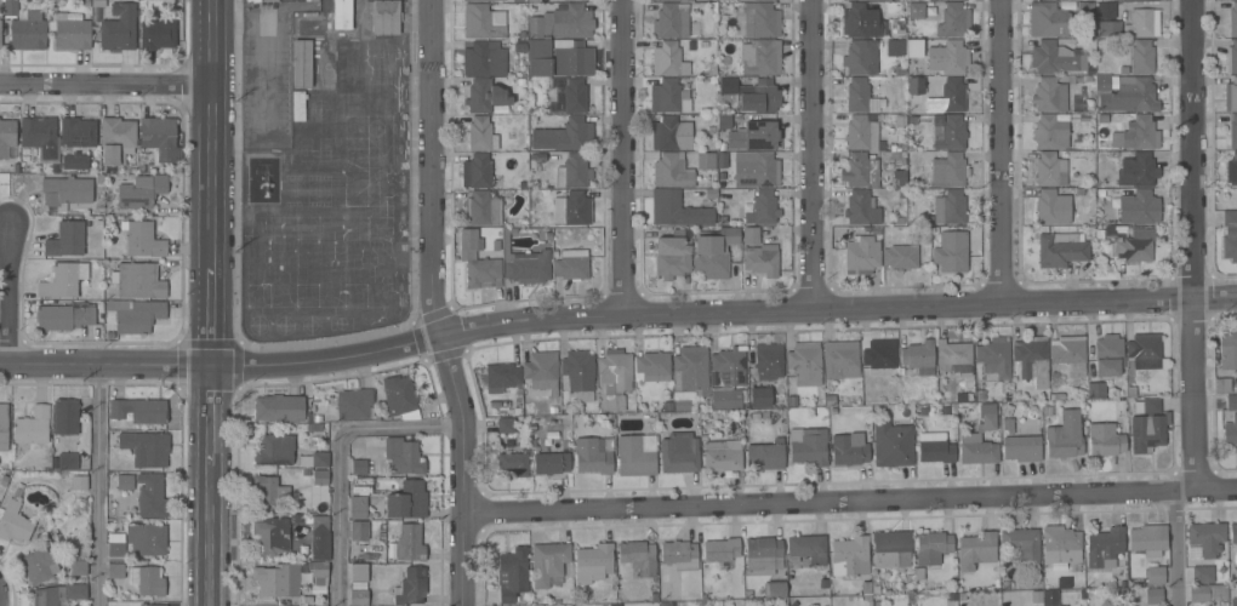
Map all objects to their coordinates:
building: (252, 0)
building: (269, 0)
building: (479, 0)
building: (571, 0)
building: (668, 0)
building: (746, 0)
building: (762, 0)
building: (856, 0)
building: (888, 0)
building: (911, 0)
building: (933, 0)
building: (1157, 0)
building: (534, 1)
building: (10, 7)
building: (916, 10)
building: (1105, 10)
building: (1084, 11)
building: (341, 15)
building: (386, 17)
building: (863, 19)
building: (1047, 19)
building: (1232, 19)
building: (760, 21)
building: (953, 21)
building: (483, 22)
building: (568, 22)
building: (667, 22)
building: (1141, 23)
building: (118, 28)
building: (1108, 29)
building: (899, 30)
building: (70, 32)
building: (28, 33)
building: (156, 35)
road: (269, 47)
building: (537, 48)
building: (895, 48)
building: (913, 48)
building: (1056, 56)
building: (760, 57)
building: (861, 57)
building: (1141, 57)
building: (571, 58)
building: (948, 58)
building: (1231, 58)
building: (481, 59)
building: (668, 59)
building: (301, 64)
building: (347, 64)
road: (104, 82)
building: (726, 90)
building: (914, 91)
building: (1125, 93)
building: (1049, 95)
building: (484, 96)
building: (574, 96)
building: (860, 96)
building: (951, 96)
building: (1231, 96)
building: (669, 97)
building: (760, 97)
building: (298, 105)
building: (723, 121)
building: (78, 132)
building: (1050, 132)
building: (671, 133)
building: (860, 133)
building: (951, 133)
building: (1136, 133)
building: (1231, 133)
building: (38, 135)
road: (211, 135)
building: (480, 135)
building: (565, 136)
building: (753, 136)
building: (6, 137)
building: (159, 137)
building: (116, 139)
road: (1195, 148)
road: (997, 150)
road: (815, 155)
road: (627, 158)
building: (706, 160)
building: (75, 161)
building: (1135, 168)
building: (948, 170)
building: (1049, 170)
building: (1232, 170)
building: (477, 171)
building: (671, 171)
building: (757, 171)
building: (860, 171)
building: (572, 172)
building: (65, 190)
building: (141, 191)
building: (764, 207)
building: (950, 207)
building: (1053, 207)
building: (1139, 207)
building: (483, 208)
building: (572, 208)
building: (862, 208)
building: (679, 211)
building: (1115, 231)
building: (751, 235)
building: (1230, 235)
building: (65, 240)
building: (142, 240)
building: (1135, 246)
building: (1061, 250)
building: (713, 252)
building: (951, 252)
building: (673, 255)
building: (861, 256)
building: (900, 257)
building: (760, 261)
building: (478, 262)
building: (526, 264)
building: (571, 265)
building: (62, 280)
building: (138, 280)
road: (8, 290)
road: (1215, 296)
road: (439, 304)
road: (594, 315)
building: (64, 316)
building: (137, 316)
road: (211, 316)
building: (1144, 349)
building: (1229, 350)
building: (1068, 354)
building: (880, 356)
building: (1107, 356)
building: (918, 358)
building: (953, 358)
building: (993, 359)
building: (1031, 359)
building: (769, 360)
building: (840, 360)
building: (652, 364)
building: (804, 364)
building: (726, 367)
building: (690, 368)
building: (540, 371)
building: (578, 373)
building: (614, 376)
building: (501, 377)
building: (1221, 384)
building: (1095, 390)
road: (1196, 394)
building: (397, 395)
building: (726, 399)
building: (764, 399)
building: (792, 401)
building: (1231, 402)
building: (353, 404)
building: (682, 405)
building: (1146, 405)
building: (279, 408)
building: (138, 411)
road: (210, 415)
building: (64, 417)
building: (988, 422)
building: (1007, 424)
building: (505, 425)
building: (32, 427)
building: (4, 428)
building: (1230, 430)
building: (1146, 433)
building: (1065, 436)
building: (124, 440)
building: (1104, 440)
building: (893, 442)
building: (806, 446)
building: (933, 447)
building: (1021, 448)
building: (150, 450)
building: (275, 450)
building: (848, 450)
building: (976, 451)
building: (679, 453)
building: (765, 454)
building: (403, 456)
building: (592, 456)
road: (338, 457)
building: (633, 457)
building: (720, 458)
building: (314, 459)
building: (67, 461)
building: (514, 463)
building: (551, 463)
building: (359, 468)
building: (319, 476)
building: (124, 481)
building: (79, 482)
road: (97, 484)
building: (269, 490)
building: (150, 496)
building: (406, 501)
road: (853, 502)
building: (357, 519)
building: (13, 522)
building: (1232, 533)
road: (209, 536)
building: (270, 537)
building: (319, 538)
building: (1147, 538)
building: (1205, 538)
building: (147, 539)
building: (410, 542)
building: (1021, 544)
building: (1061, 545)
building: (1102, 545)
building: (115, 547)
building: (931, 548)
building: (806, 549)
building: (890, 549)
road: (1174, 549)
building: (720, 550)
building: (976, 550)
building: (679, 555)
building: (762, 556)
building: (849, 556)
building: (638, 558)
building: (547, 562)
building: (593, 562)
building: (38, 566)
building: (78, 567)
building: (114, 571)
building: (358, 572)
building: (512, 574)
building: (1202, 574)
building: (318, 576)
building: (1155, 576)
building: (148, 581)
building: (277, 581)
building: (410, 587)
building: (776, 589)
building: (75, 591)
building: (1207, 591)
building: (45, 596)
building: (1153, 596)
building: (359, 598)
building: (1049, 598)
building: (1233, 601)
building: (150, 605)

